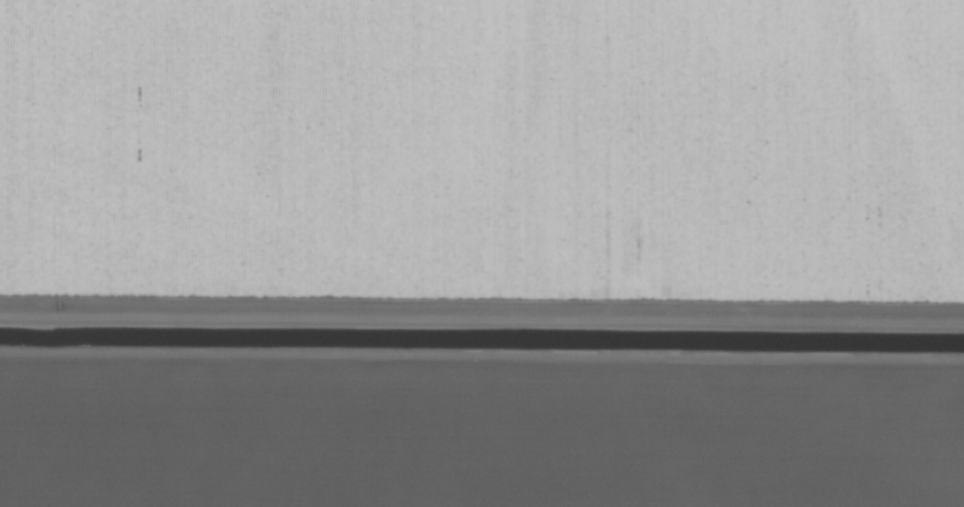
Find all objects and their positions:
crop: (482, 253)
road: (482, 393)

